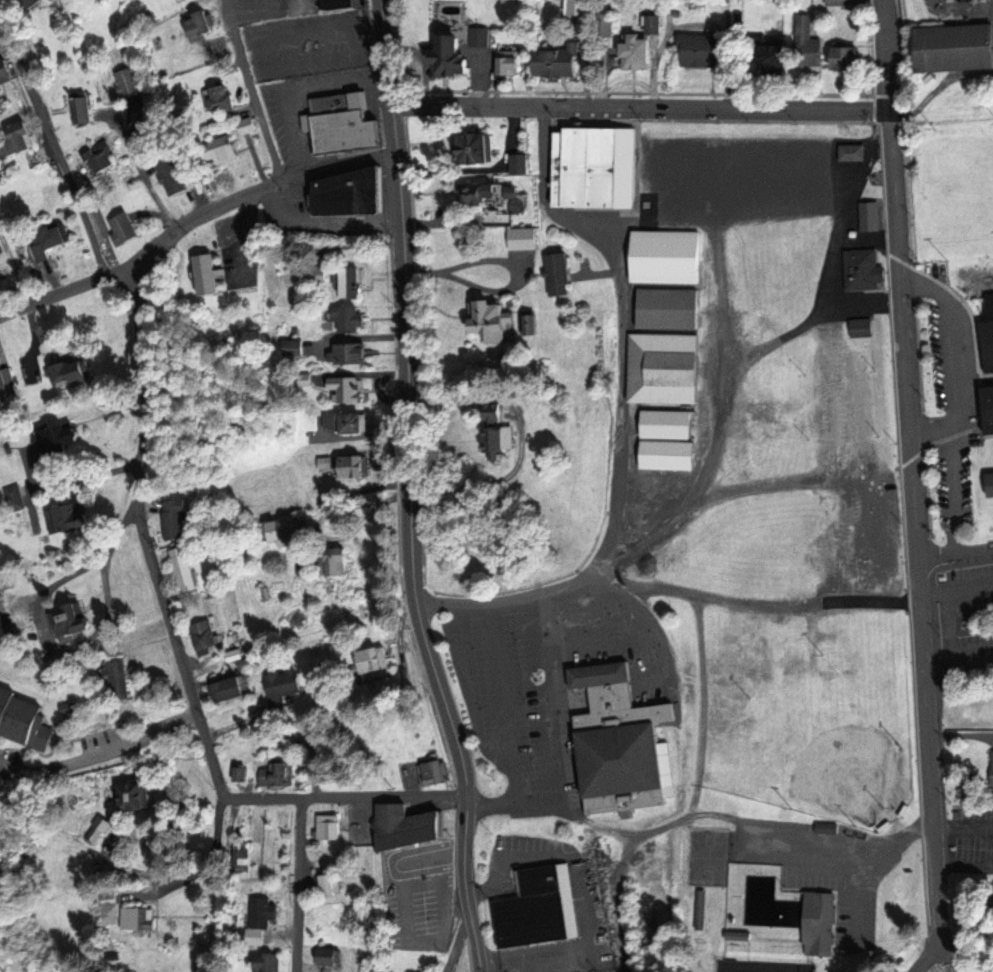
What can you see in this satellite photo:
building: (846, 2)
building: (577, 8)
building: (199, 27)
building: (480, 38)
building: (809, 47)
building: (952, 48)
building: (699, 52)
building: (636, 54)
building: (770, 59)
building: (451, 60)
building: (846, 62)
building: (558, 63)
building: (508, 65)
building: (4, 72)
building: (129, 85)
road: (252, 91)
building: (222, 101)
road: (643, 109)
building: (1, 111)
building: (79, 111)
building: (247, 127)
building: (342, 127)
building: (20, 142)
road: (52, 150)
building: (225, 151)
building: (475, 151)
building: (852, 155)
building: (102, 158)
building: (596, 171)
building: (171, 177)
road: (145, 178)
building: (330, 194)
building: (485, 196)
road: (203, 214)
building: (123, 230)
building: (511, 232)
building: (55, 239)
road: (14, 268)
building: (863, 272)
building: (558, 276)
building: (206, 277)
building: (667, 280)
building: (350, 285)
road: (67, 289)
building: (348, 320)
building: (491, 321)
building: (532, 325)
building: (988, 337)
building: (349, 354)
building: (663, 369)
building: (71, 373)
building: (6, 381)
building: (346, 389)
building: (988, 410)
building: (344, 423)
building: (59, 439)
building: (499, 439)
building: (668, 440)
building: (353, 466)
building: (992, 471)
road: (915, 487)
road: (413, 488)
building: (14, 498)
building: (64, 518)
building: (176, 519)
building: (285, 531)
road: (145, 535)
road: (956, 557)
building: (336, 562)
building: (185, 569)
building: (69, 621)
building: (205, 636)
building: (375, 663)
building: (118, 681)
building: (284, 685)
building: (231, 690)
building: (24, 719)
building: (617, 733)
building: (992, 771)
building: (432, 774)
building: (277, 775)
road: (344, 797)
building: (134, 798)
building: (407, 827)
building: (329, 830)
building: (328, 856)
building: (242, 857)
road: (299, 885)
building: (330, 886)
building: (536, 909)
building: (777, 911)
building: (263, 913)
building: (137, 921)
building: (329, 957)
road: (928, 957)
building: (266, 964)
park: (761, 966)
building: (0, 971)

